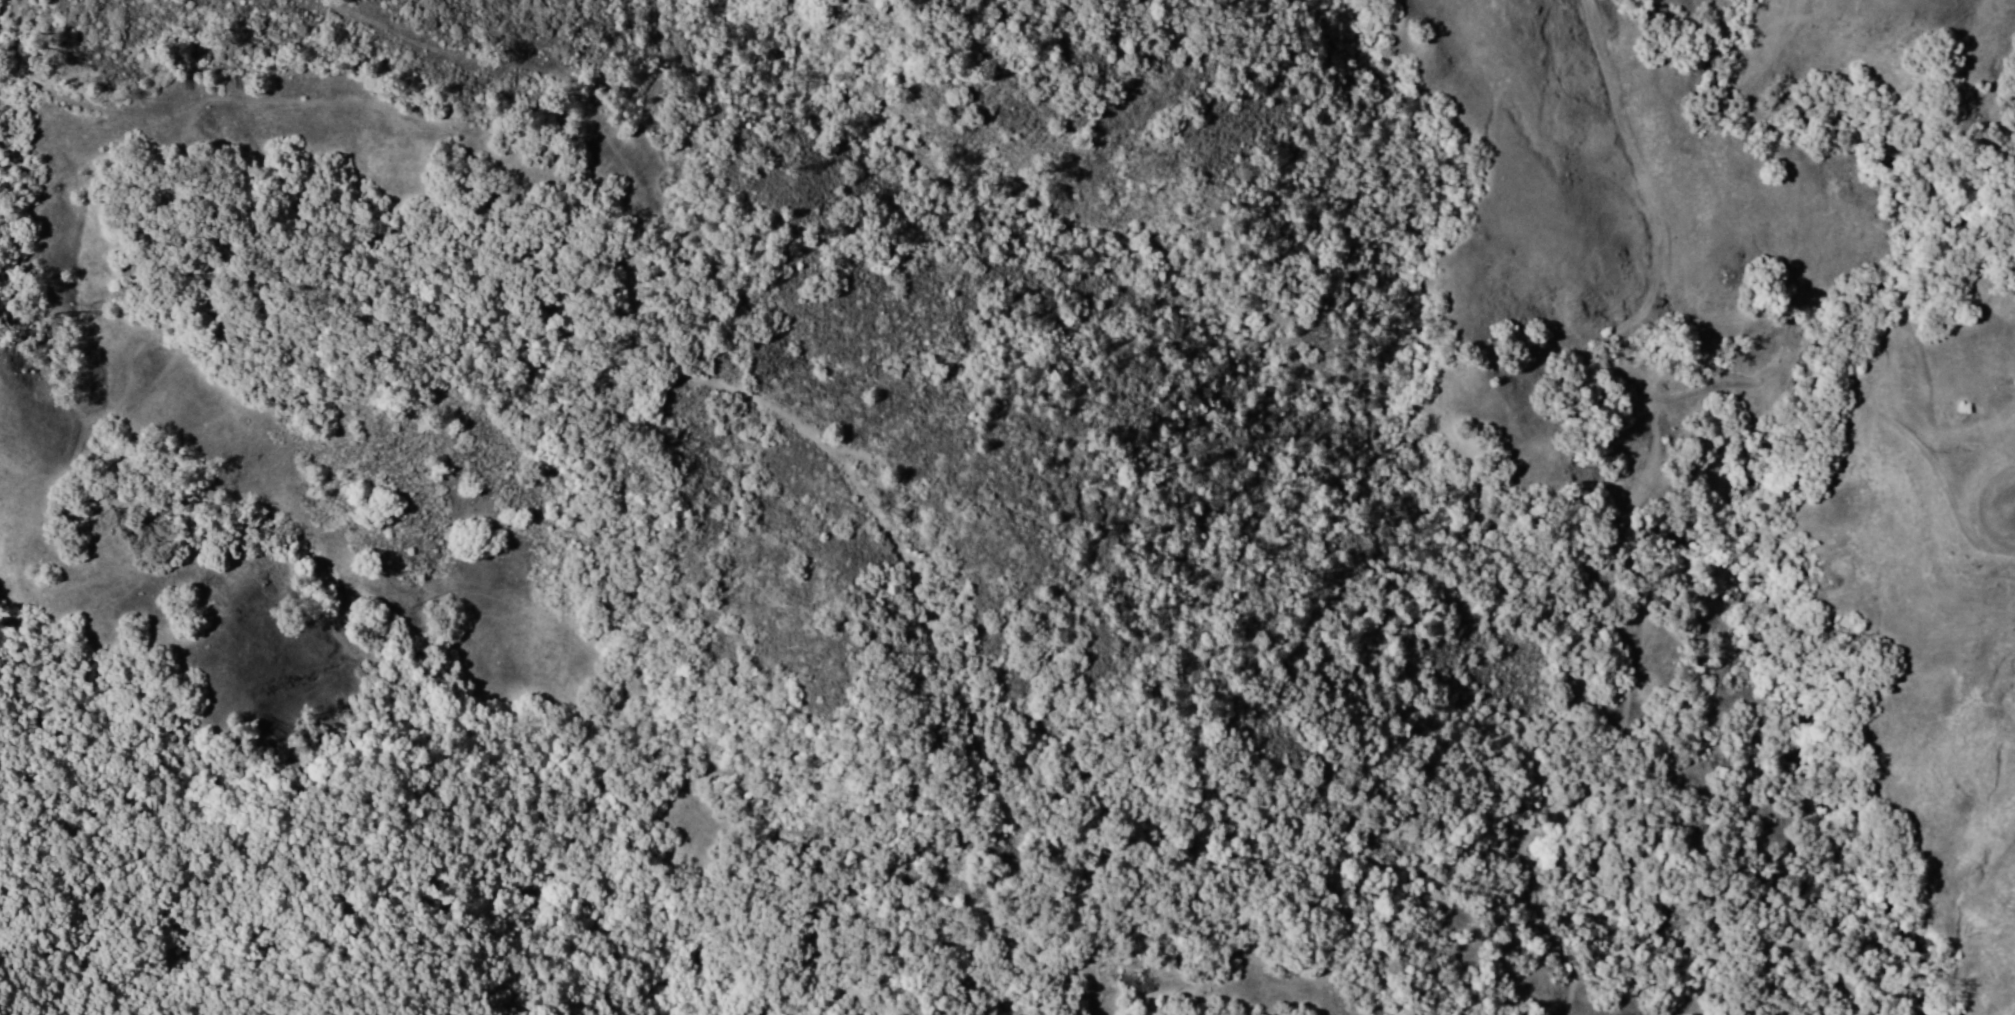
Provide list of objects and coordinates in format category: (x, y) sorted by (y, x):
road: (1661, 216)
road: (1758, 387)
road: (1984, 509)

